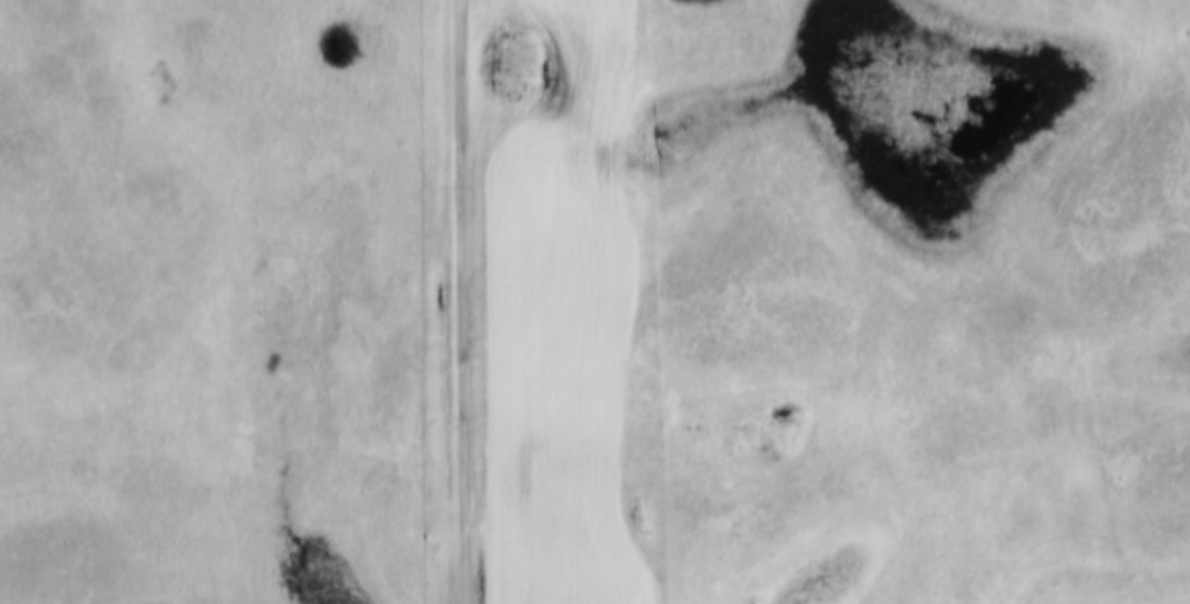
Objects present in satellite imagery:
road: (459, 302)

